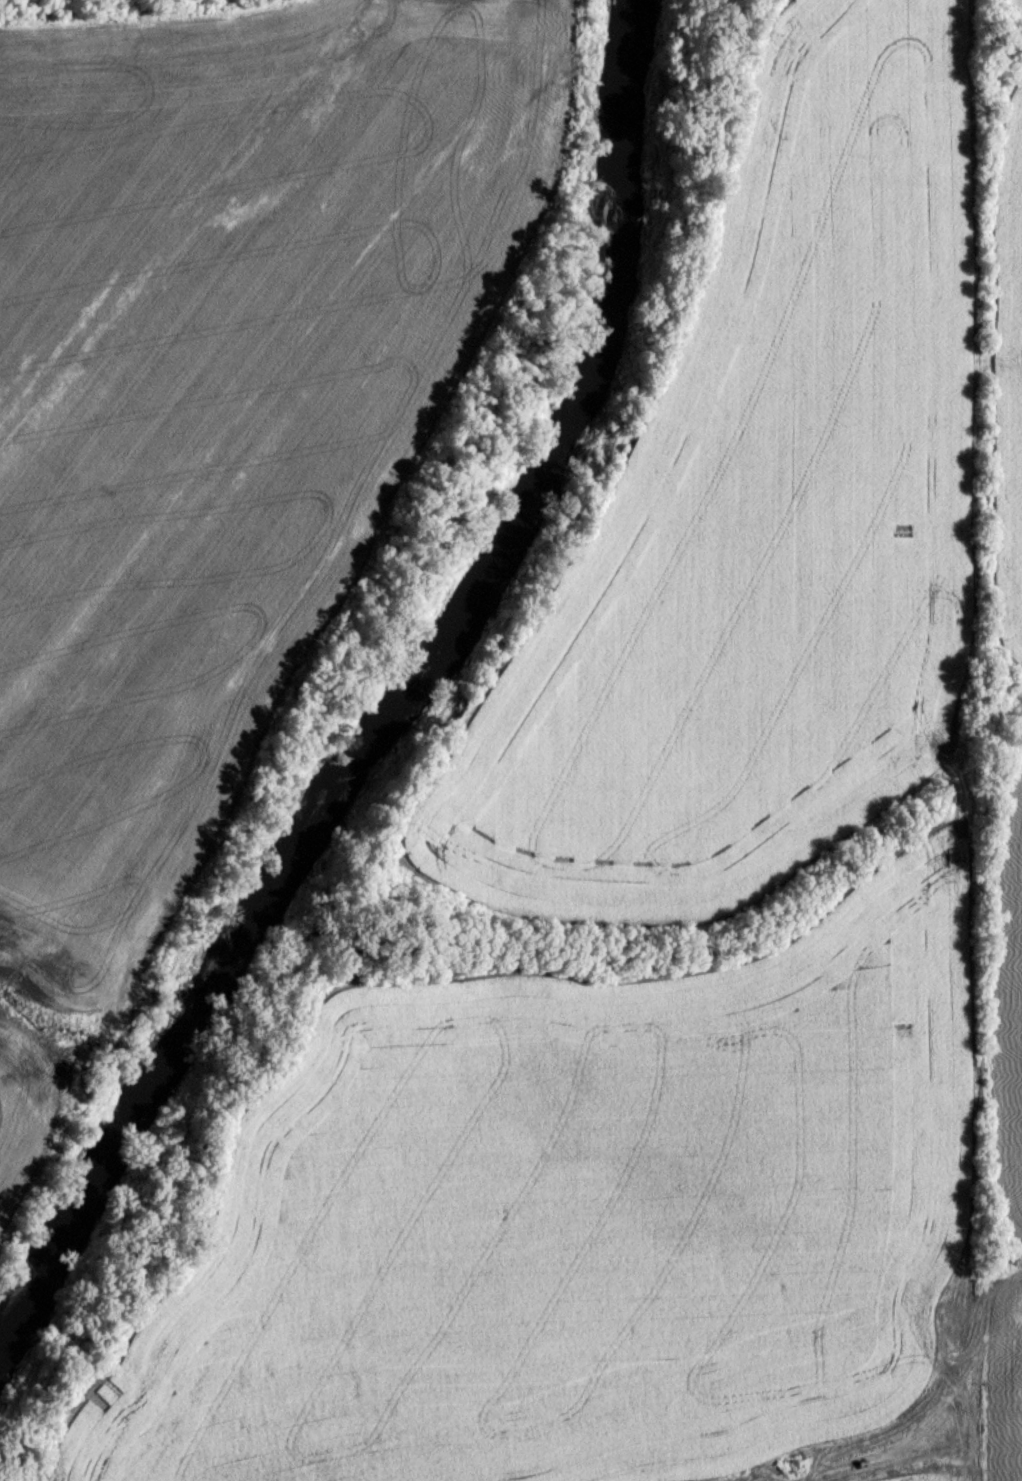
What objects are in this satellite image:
river: (398, 705)

